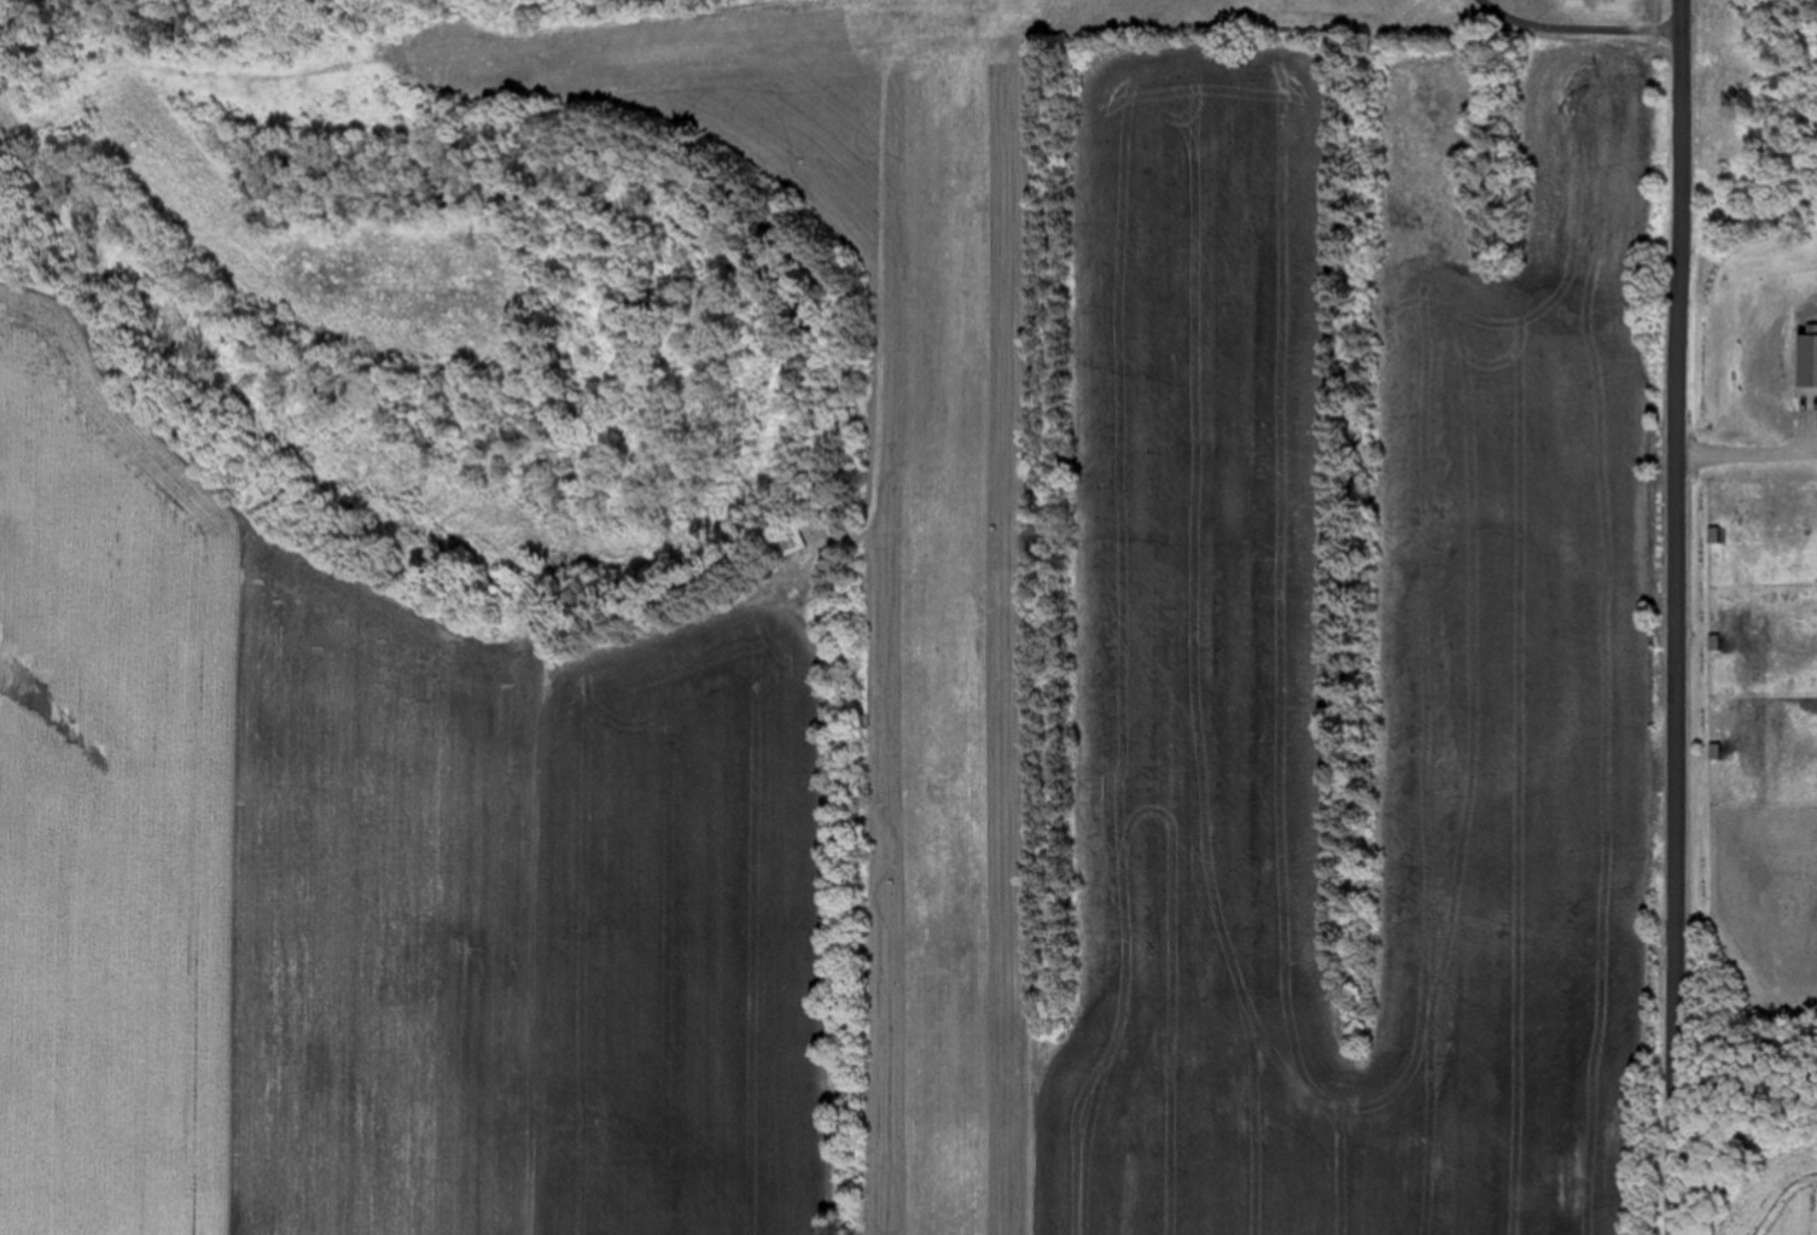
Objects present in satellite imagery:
road: (1753, 453)
building: (811, 541)
road: (1688, 617)
airport runway: (949, 623)

